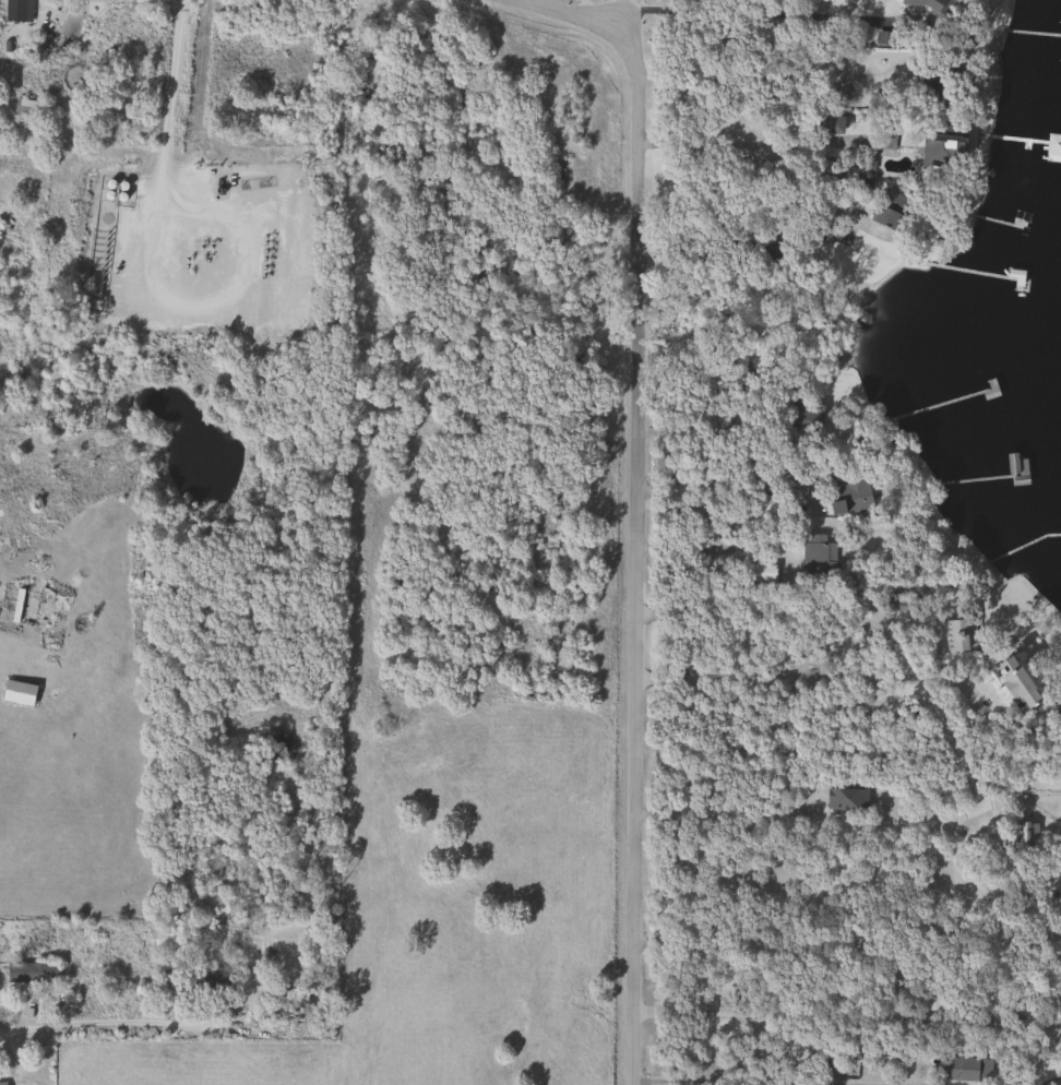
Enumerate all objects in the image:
building: (922, 3)
road: (746, 13)
road: (748, 76)
building: (27, 108)
building: (827, 124)
building: (1052, 147)
building: (942, 152)
building: (887, 208)
building: (282, 249)
building: (806, 414)
building: (1015, 469)
road: (734, 481)
building: (849, 494)
building: (773, 504)
road: (639, 506)
road: (713, 547)
building: (816, 555)
building: (761, 573)
building: (897, 605)
building: (28, 607)
building: (959, 634)
road: (807, 678)
building: (846, 799)
road: (851, 820)
building: (1023, 839)
building: (31, 973)
building: (208, 982)
building: (931, 1000)
road: (848, 1014)
road: (111, 1029)
building: (966, 1069)
road: (760, 1081)
road: (1049, 1082)
building: (2, 1083)

